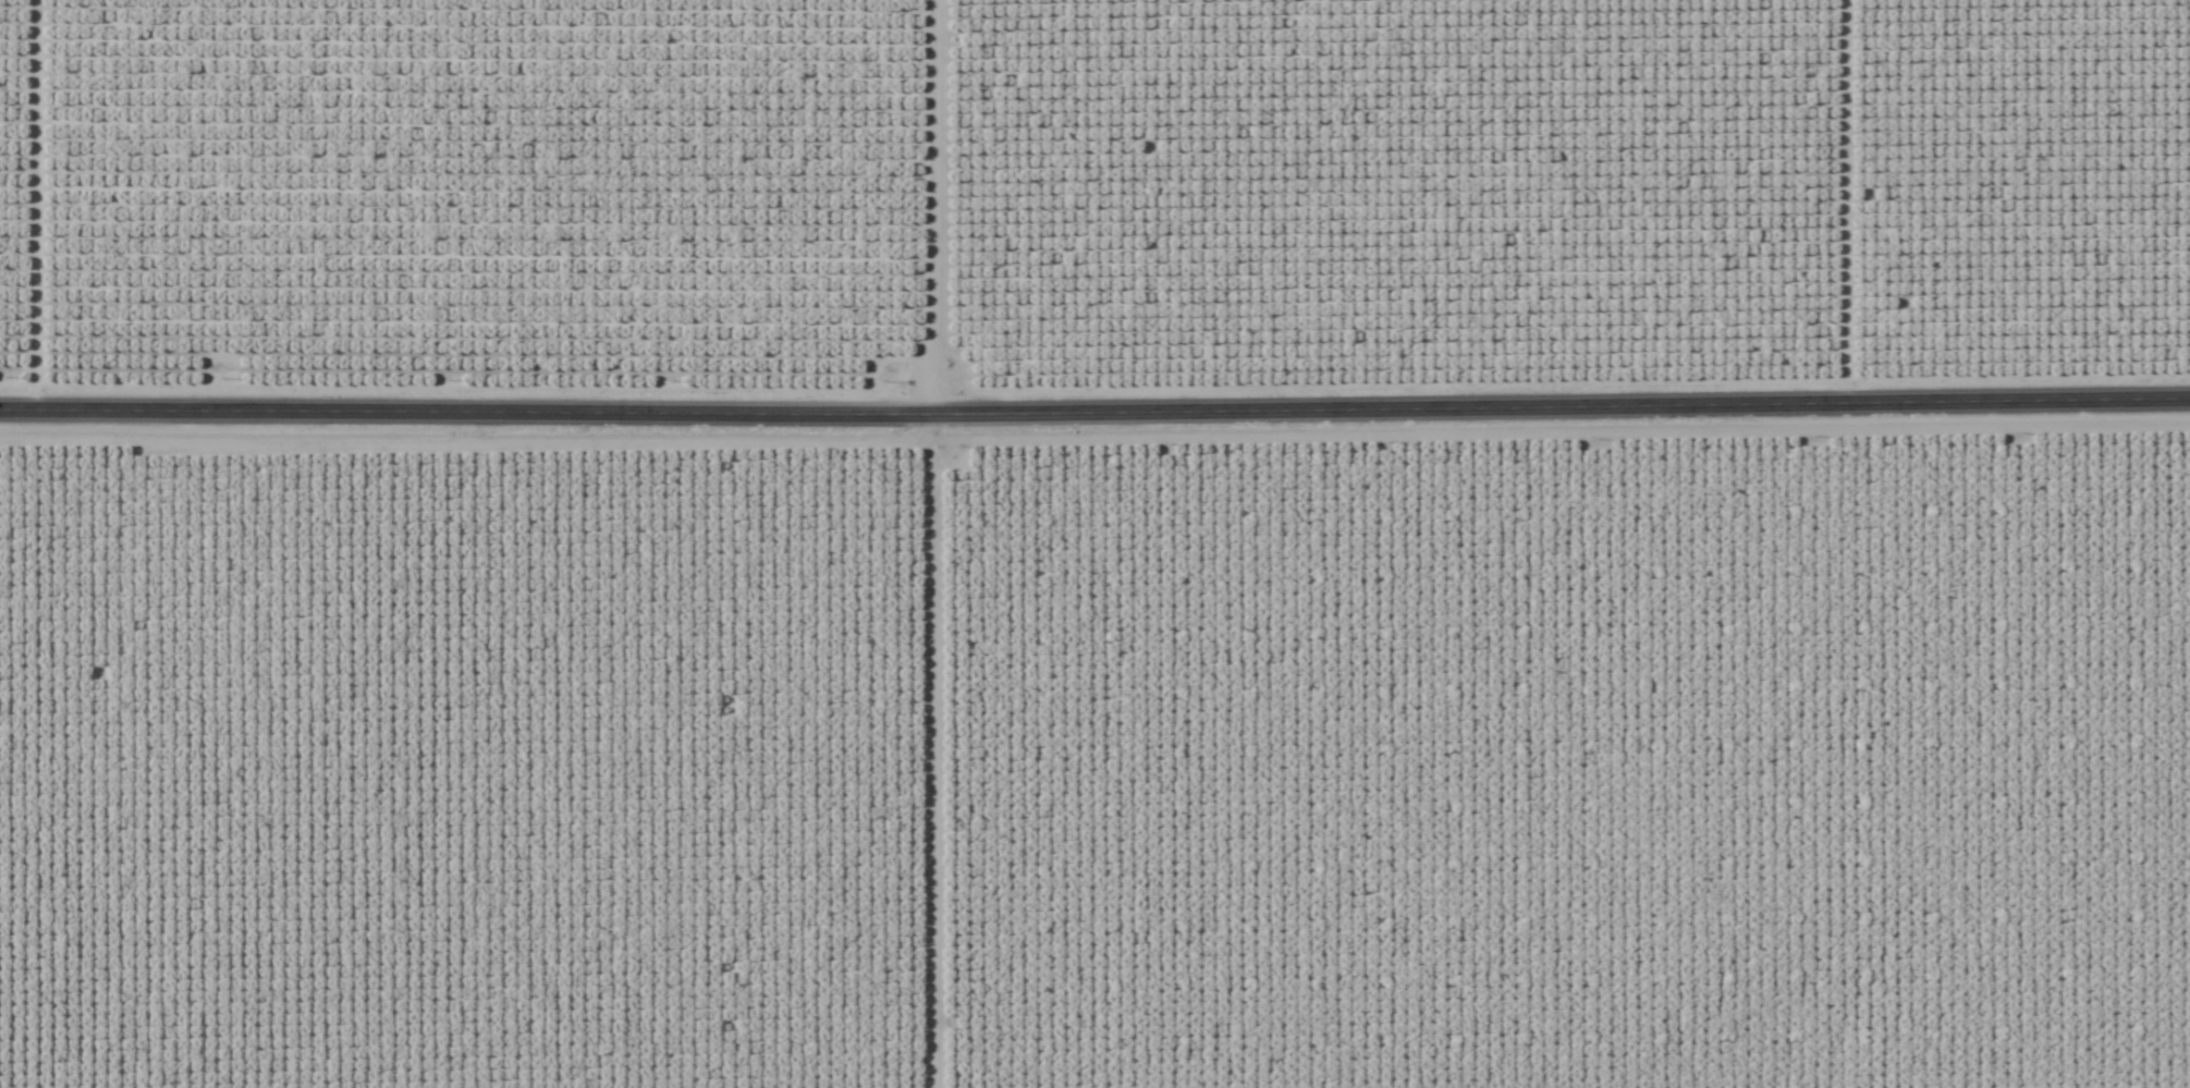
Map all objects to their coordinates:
crop: (1088, 194)
road: (1843, 198)
road: (1094, 413)
crop: (1094, 543)
road: (935, 751)
crop: (1098, 765)

